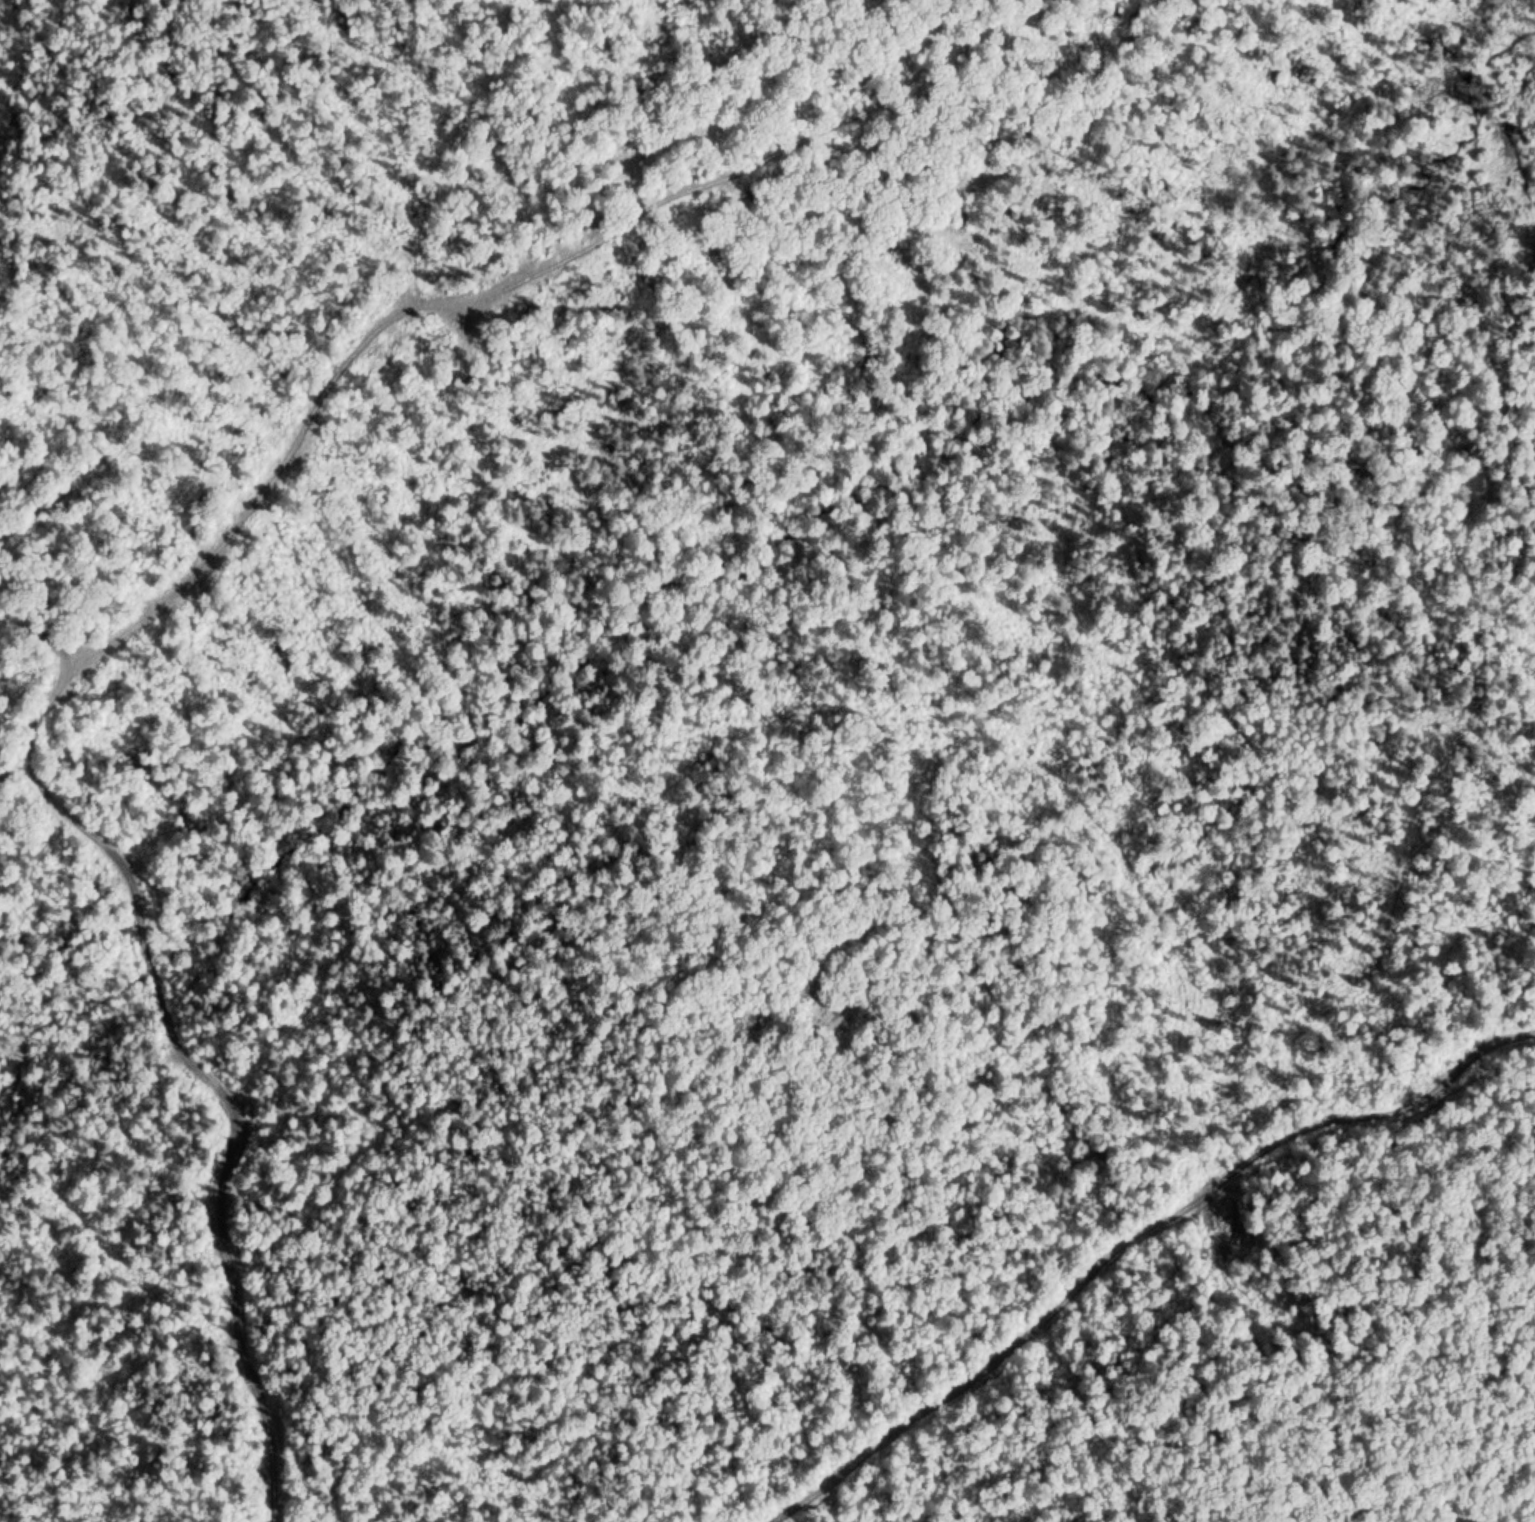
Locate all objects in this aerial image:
road: (1135, 1236)

